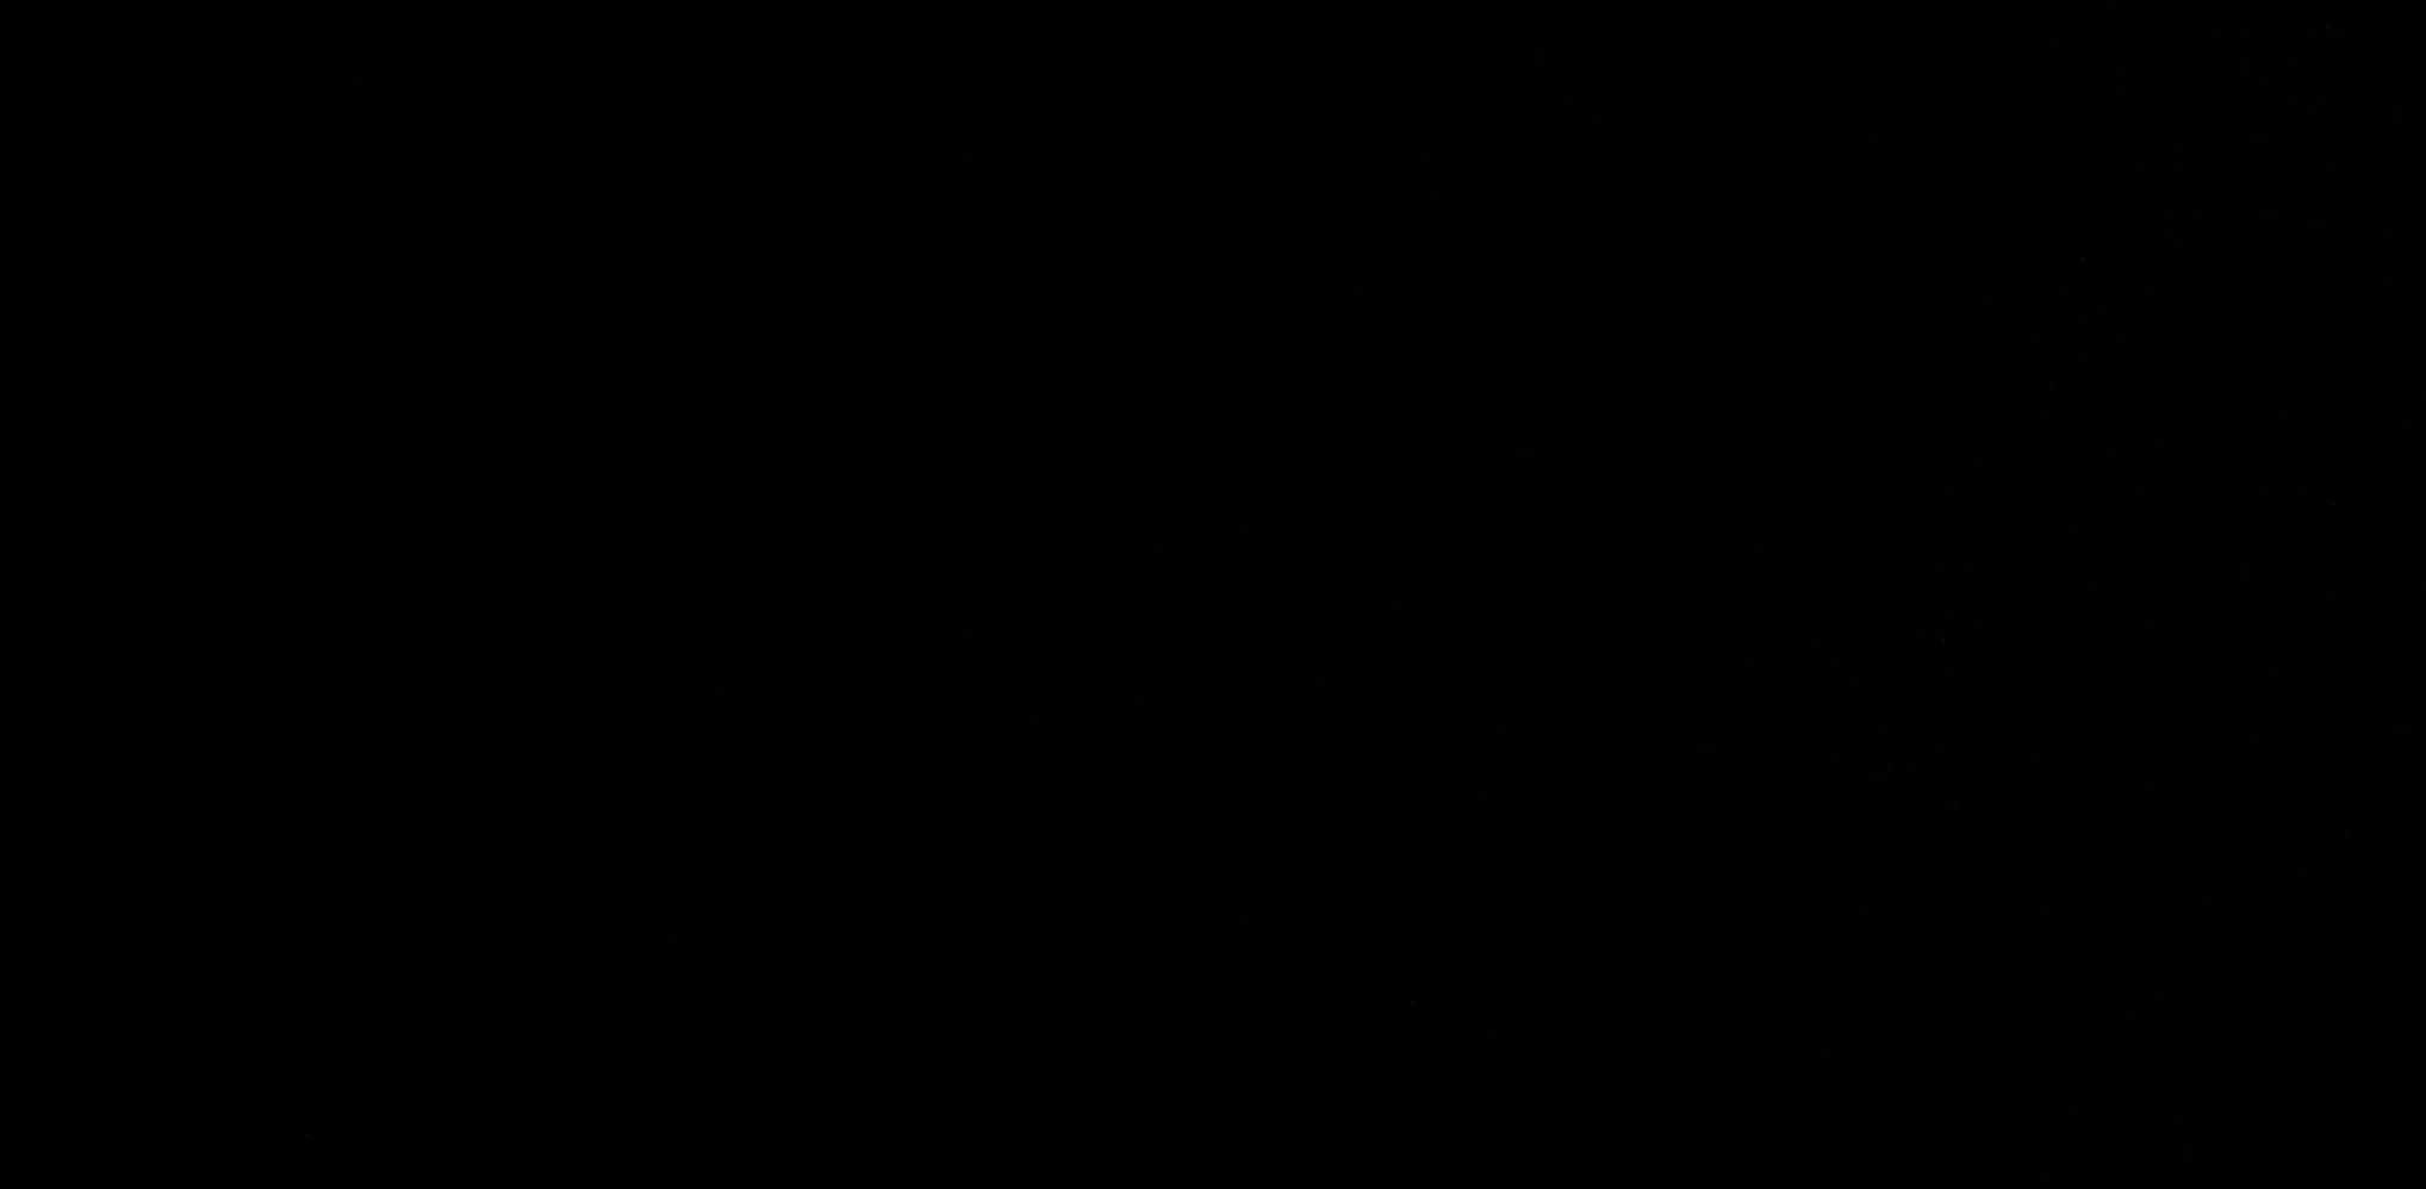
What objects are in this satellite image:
river: (1151, 599)

